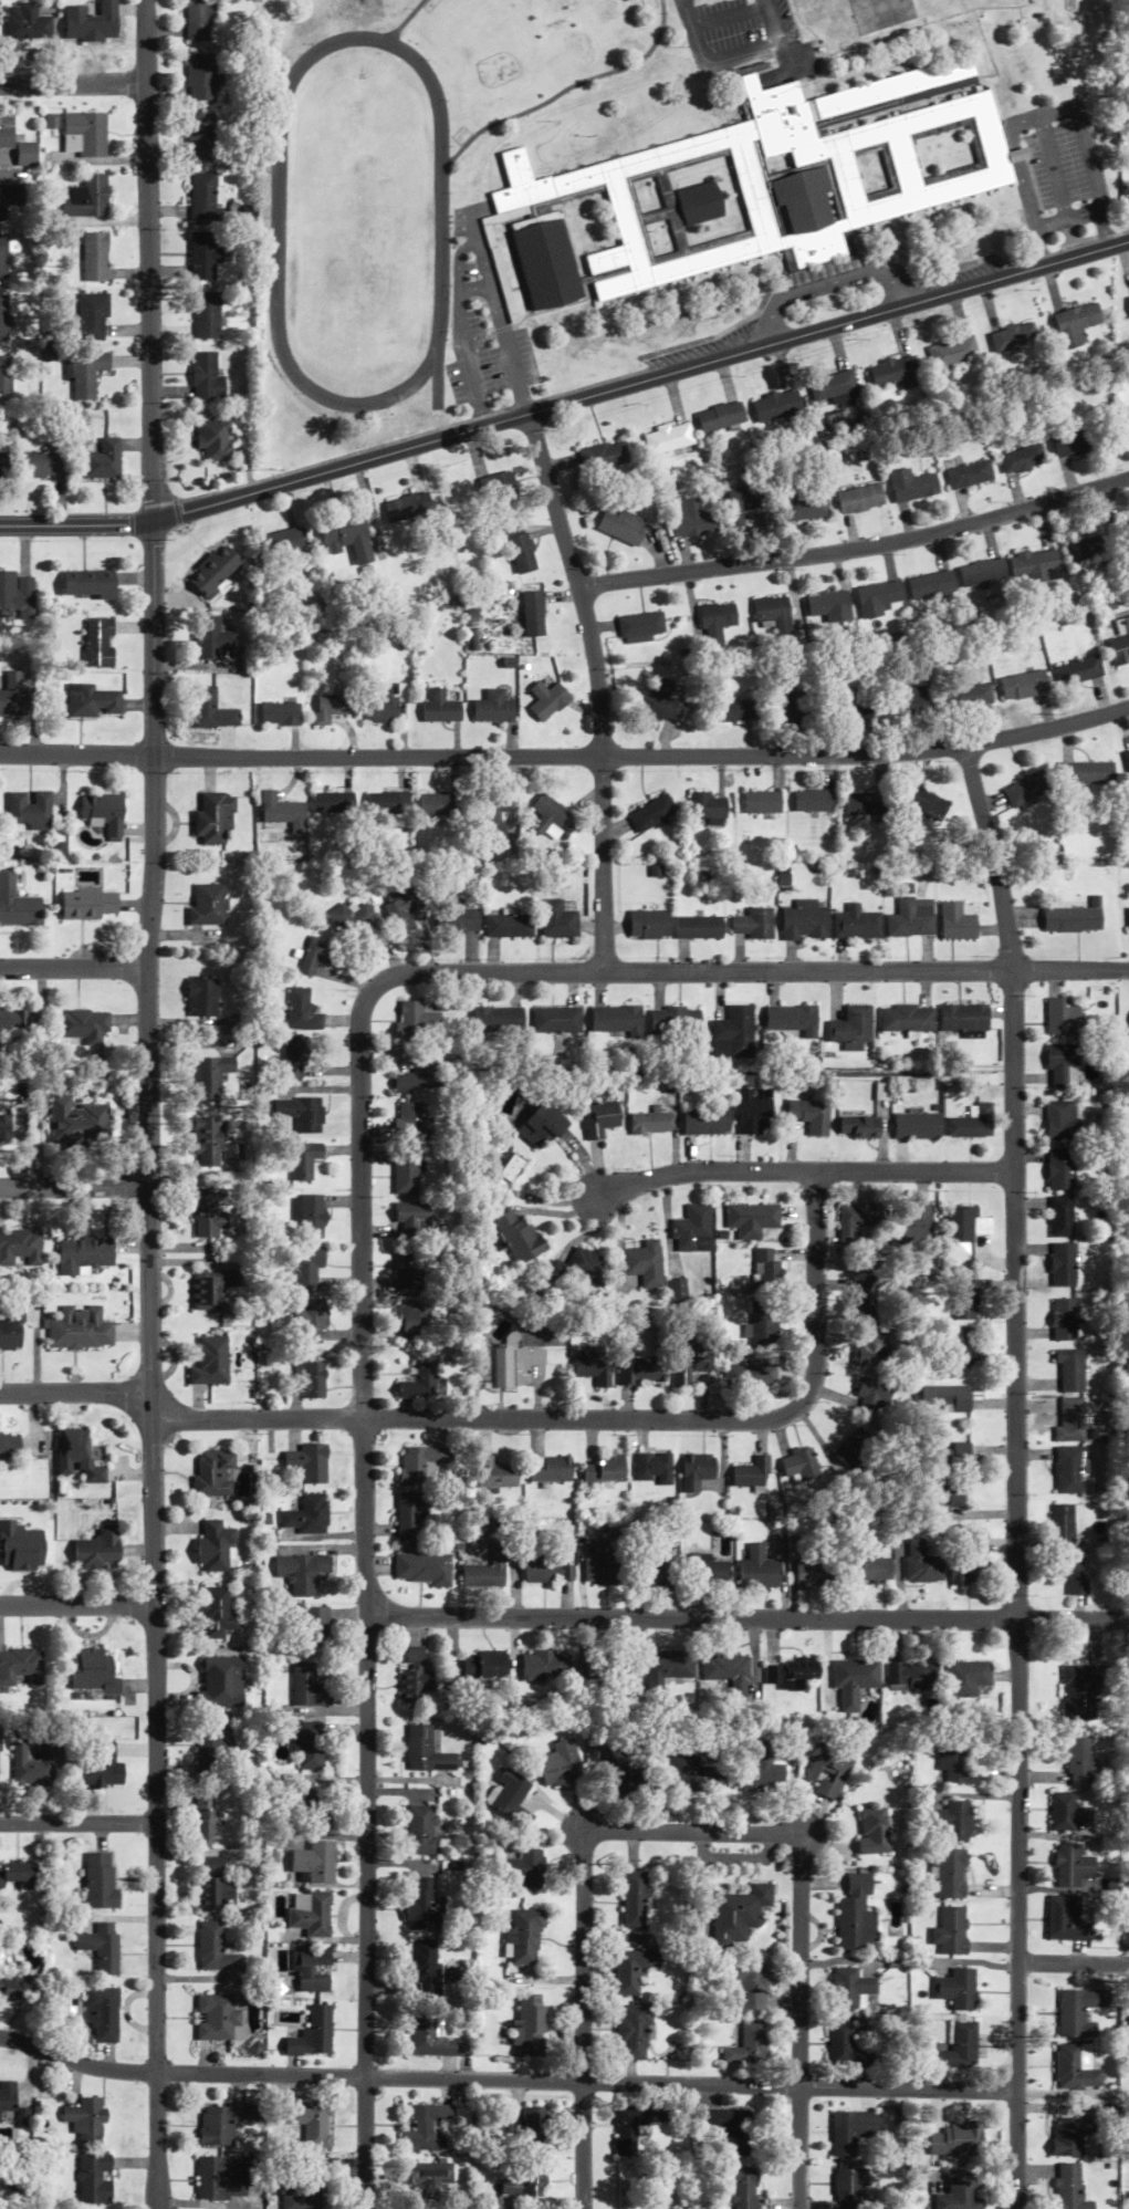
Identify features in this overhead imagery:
park: (881, 14)
road: (729, 17)
building: (198, 18)
building: (91, 21)
building: (24, 22)
track: (404, 22)
parking lot: (751, 41)
road: (144, 42)
road: (734, 59)
building: (201, 76)
road: (73, 84)
building: (891, 87)
track: (565, 92)
road: (1044, 117)
building: (51, 121)
building: (783, 121)
building: (4, 131)
building: (85, 134)
building: (199, 136)
building: (24, 154)
building: (920, 158)
parking lot: (1057, 167)
road: (1056, 169)
building: (540, 183)
building: (90, 196)
building: (8, 197)
building: (205, 197)
building: (618, 197)
building: (805, 199)
building: (561, 200)
building: (757, 204)
road: (1069, 221)
track: (359, 223)
building: (818, 244)
building: (2, 254)
building: (202, 256)
building: (92, 257)
building: (607, 260)
building: (545, 264)
building: (502, 277)
road: (830, 284)
building: (615, 286)
road: (477, 288)
building: (207, 314)
building: (88, 315)
building: (1, 317)
road: (502, 320)
parking lot: (484, 324)
building: (1076, 324)
road: (463, 330)
building: (1014, 336)
building: (953, 352)
track: (440, 371)
building: (893, 372)
building: (4, 374)
building: (86, 375)
building: (207, 377)
road: (640, 382)
building: (834, 387)
building: (776, 405)
building: (720, 416)
building: (668, 438)
building: (216, 439)
building: (1075, 440)
building: (604, 455)
building: (1025, 459)
building: (105, 460)
building: (4, 465)
building: (43, 465)
building: (971, 475)
building: (913, 486)
building: (502, 489)
building: (860, 499)
building: (742, 503)
building: (408, 507)
building: (805, 507)
building: (693, 520)
road: (76, 523)
building: (620, 528)
building: (347, 535)
building: (281, 542)
road: (858, 549)
building: (1085, 551)
building: (523, 553)
building: (1035, 564)
building: (215, 572)
building: (983, 573)
building: (87, 584)
building: (932, 585)
building: (17, 594)
building: (878, 597)
building: (829, 606)
building: (534, 614)
building: (774, 614)
building: (717, 623)
building: (640, 626)
building: (212, 638)
building: (98, 643)
building: (1120, 643)
building: (1079, 670)
building: (1023, 685)
road: (598, 688)
building: (547, 695)
building: (970, 695)
building: (14, 696)
building: (661, 700)
building: (92, 701)
building: (911, 701)
building: (387, 704)
building: (330, 707)
building: (440, 707)
building: (493, 707)
building: (796, 707)
building: (210, 709)
building: (733, 710)
building: (853, 710)
building: (280, 713)
road: (566, 756)
building: (1127, 758)
building: (1086, 772)
building: (1027, 789)
building: (812, 801)
building: (760, 802)
building: (332, 803)
building: (386, 803)
building: (928, 803)
building: (860, 804)
building: (435, 805)
building: (707, 807)
building: (30, 810)
building: (103, 813)
building: (281, 813)
building: (651, 813)
building: (211, 819)
building: (551, 819)
building: (491, 820)
road: (154, 844)
building: (18, 904)
building: (90, 905)
building: (207, 905)
building: (400, 909)
building: (1073, 918)
building: (1128, 918)
building: (349, 919)
building: (910, 919)
building: (454, 920)
building: (555, 920)
building: (804, 920)
building: (955, 923)
building: (648, 924)
building: (856, 924)
building: (753, 925)
building: (505, 926)
building: (698, 927)
building: (316, 955)
road: (74, 969)
road: (532, 972)
building: (202, 997)
building: (302, 1011)
building: (1060, 1015)
building: (961, 1018)
building: (905, 1019)
building: (14, 1020)
building: (416, 1020)
building: (556, 1020)
building: (616, 1020)
building: (790, 1020)
building: (673, 1021)
building: (496, 1022)
building: (84, 1025)
building: (850, 1028)
building: (732, 1033)
building: (292, 1057)
building: (1060, 1065)
building: (418, 1074)
building: (209, 1077)
building: (503, 1097)
building: (754, 1111)
building: (301, 1113)
building: (811, 1116)
building: (599, 1118)
building: (408, 1121)
building: (705, 1121)
building: (1060, 1121)
building: (650, 1123)
building: (971, 1123)
building: (77, 1124)
building: (540, 1126)
building: (917, 1126)
building: (857, 1127)
building: (4, 1129)
building: (213, 1145)
building: (304, 1160)
building: (1058, 1169)
building: (405, 1171)
road: (803, 1173)
building: (505, 1174)
road: (75, 1187)
building: (208, 1215)
building: (312, 1216)
building: (1058, 1217)
building: (408, 1220)
building: (750, 1220)
building: (857, 1221)
building: (912, 1223)
building: (958, 1225)
building: (692, 1229)
building: (519, 1237)
building: (20, 1248)
building: (84, 1254)
building: (645, 1264)
building: (1060, 1264)
building: (587, 1265)
building: (309, 1269)
building: (765, 1269)
building: (407, 1272)
building: (213, 1289)
building: (865, 1299)
building: (964, 1299)
building: (1064, 1320)
building: (412, 1322)
building: (312, 1323)
building: (763, 1325)
building: (81, 1328)
building: (13, 1331)
building: (959, 1346)
building: (871, 1351)
building: (212, 1362)
building: (504, 1363)
building: (595, 1364)
building: (690, 1364)
building: (642, 1369)
building: (1069, 1369)
building: (750, 1374)
building: (310, 1379)
building: (425, 1379)
building: (947, 1396)
building: (874, 1398)
road: (518, 1419)
building: (1068, 1419)
building: (9, 1449)
building: (77, 1456)
building: (856, 1457)
building: (948, 1457)
building: (309, 1462)
building: (420, 1463)
building: (802, 1465)
building: (655, 1468)
building: (551, 1470)
building: (606, 1470)
building: (698, 1470)
building: (1067, 1470)
building: (215, 1473)
building: (495, 1473)
building: (754, 1473)
road: (1015, 1475)
building: (943, 1493)
building: (411, 1513)
building: (307, 1515)
building: (1062, 1526)
building: (213, 1546)
building: (19, 1548)
building: (96, 1550)
building: (971, 1561)
building: (599, 1563)
building: (921, 1563)
building: (652, 1567)
building: (424, 1569)
building: (760, 1570)
building: (868, 1570)
building: (487, 1571)
building: (547, 1571)
building: (707, 1571)
building: (300, 1573)
building: (1069, 1573)
building: (811, 1574)
road: (76, 1604)
building: (215, 1613)
road: (746, 1619)
building: (313, 1627)
building: (483, 1666)
building: (545, 1666)
building: (20, 1667)
building: (590, 1667)
building: (667, 1669)
building: (623, 1670)
building: (90, 1671)
building: (728, 1673)
building: (790, 1674)
building: (414, 1676)
building: (912, 1676)
building: (965, 1678)
building: (853, 1681)
building: (218, 1682)
building: (306, 1686)
building: (1078, 1692)
building: (212, 1740)
building: (306, 1744)
building: (425, 1751)
building: (1078, 1762)
building: (31, 1763)
building: (953, 1763)
building: (561, 1764)
building: (757, 1764)
building: (96, 1767)
building: (683, 1769)
building: (623, 1770)
building: (827, 1771)
building: (510, 1799)
building: (309, 1805)
building: (1068, 1813)
road: (366, 1814)
building: (202, 1819)
building: (948, 1820)
road: (77, 1823)
building: (419, 1830)
road: (689, 1831)
building: (871, 1831)
building: (312, 1862)
building: (1070, 1866)
building: (522, 1869)
building: (948, 1873)
building: (15, 1875)
building: (97, 1879)
building: (212, 1886)
building: (634, 1899)
building: (417, 1903)
road: (155, 1906)
building: (310, 1913)
building: (736, 1913)
building: (855, 1915)
building: (1068, 1919)
building: (950, 1931)
building: (522, 1936)
building: (101, 1947)
building: (212, 1948)
road: (1074, 1963)
building: (422, 1965)
building: (630, 1969)
building: (311, 1971)
building: (751, 1987)
building: (850, 1988)
building: (15, 1989)
building: (956, 1989)
building: (1080, 2011)
building: (103, 2014)
building: (220, 2018)
building: (529, 2026)
building: (633, 2032)
building: (312, 2034)
building: (429, 2036)
building: (749, 2044)
building: (845, 2045)
building: (956, 2048)
building: (1077, 2067)
road: (505, 2081)
building: (7, 2101)
building: (86, 2119)
building: (219, 2123)
building: (312, 2123)
building: (728, 2124)
building: (425, 2128)
building: (628, 2128)
building: (529, 2129)
building: (851, 2130)
building: (1076, 2135)
building: (956, 2140)
building: (220, 2177)
building: (425, 2177)
building: (93, 2179)
building: (524, 2181)
building: (849, 2182)
building: (742, 2186)
building: (1073, 2188)
building: (303, 2192)
river: (14, 2194)
building: (958, 2195)

